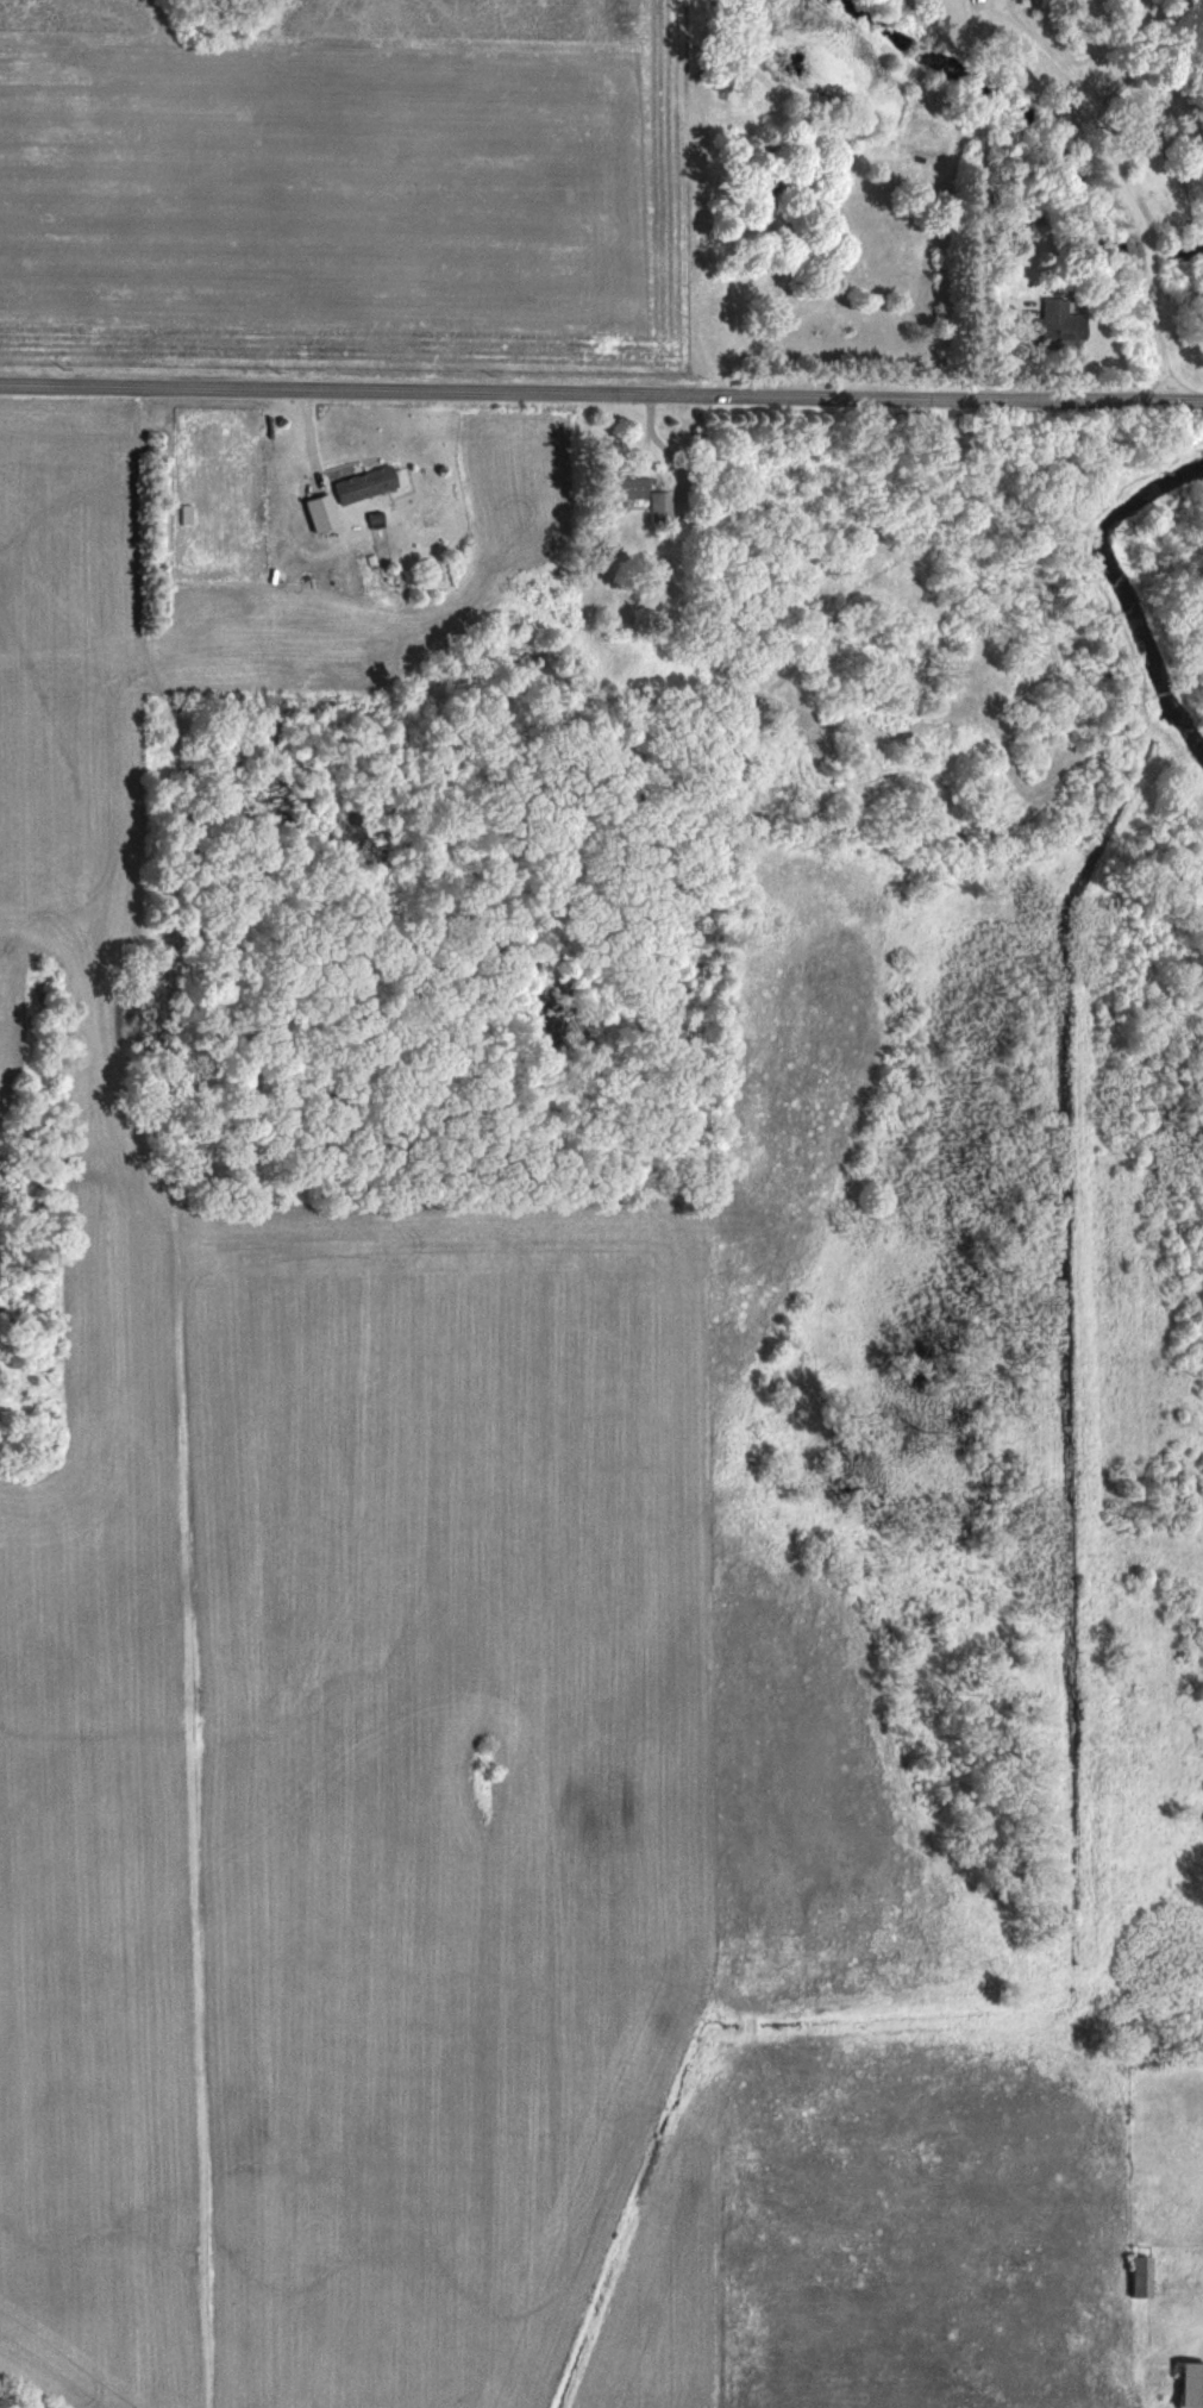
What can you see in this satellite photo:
road: (1026, 27)
road: (1055, 39)
road: (1094, 39)
road: (1139, 58)
road: (965, 192)
road: (1142, 231)
road: (997, 306)
building: (1054, 329)
road: (965, 351)
road: (601, 392)
building: (361, 483)
building: (620, 489)
building: (659, 506)
building: (1136, 2276)
building: (1188, 2385)

